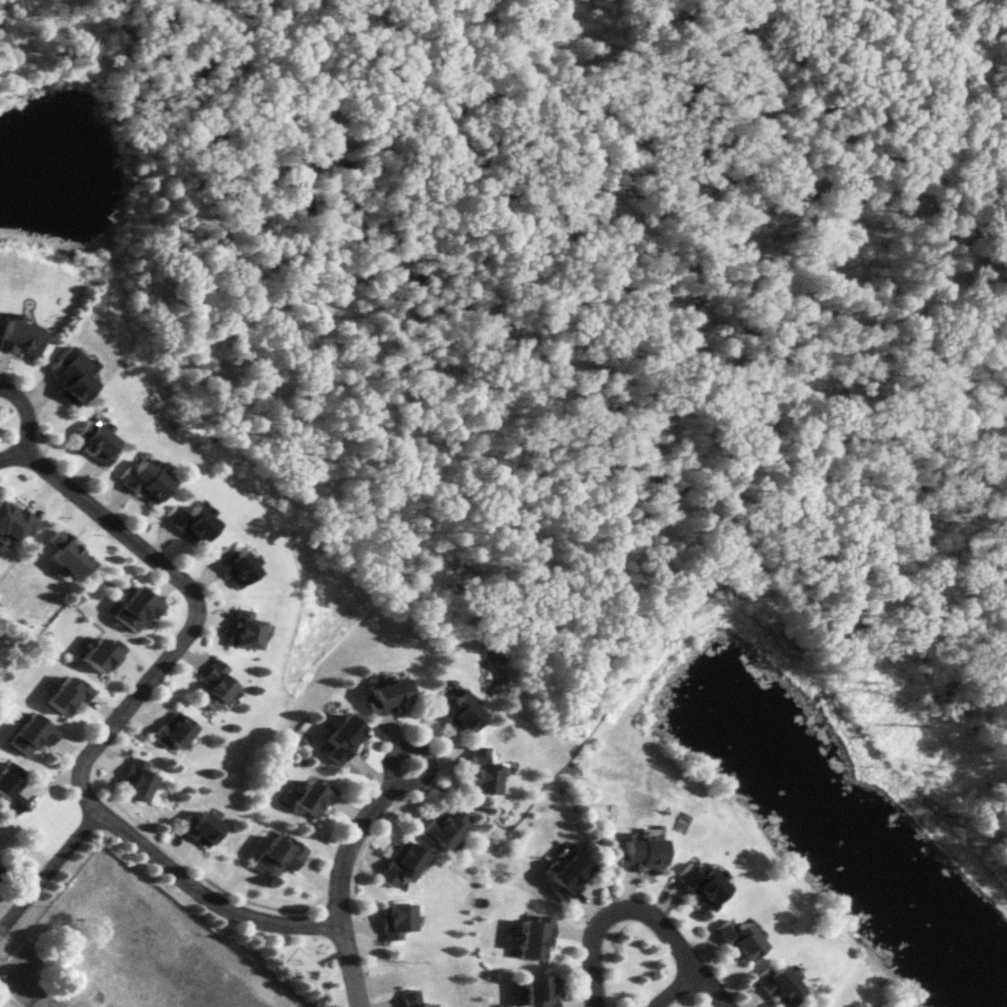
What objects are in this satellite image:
park: (716, 306)
building: (16, 336)
building: (67, 376)
road: (20, 421)
building: (90, 440)
building: (140, 479)
building: (12, 522)
building: (186, 522)
building: (63, 553)
building: (230, 565)
building: (132, 609)
building: (100, 655)
building: (212, 685)
building: (64, 695)
building: (386, 696)
building: (453, 710)
road: (110, 718)
building: (170, 731)
building: (30, 734)
building: (339, 737)
road: (385, 770)
building: (476, 771)
building: (134, 779)
building: (9, 785)
building: (310, 797)
building: (441, 825)
building: (199, 826)
building: (277, 853)
building: (635, 853)
building: (398, 863)
building: (0, 867)
road: (47, 868)
building: (565, 872)
building: (696, 882)
road: (335, 885)
road: (612, 907)
building: (394, 920)
building: (530, 936)
building: (733, 937)
road: (16, 980)
building: (775, 984)
road: (668, 986)
road: (709, 986)
building: (536, 990)
building: (407, 998)
road: (35, 1001)

